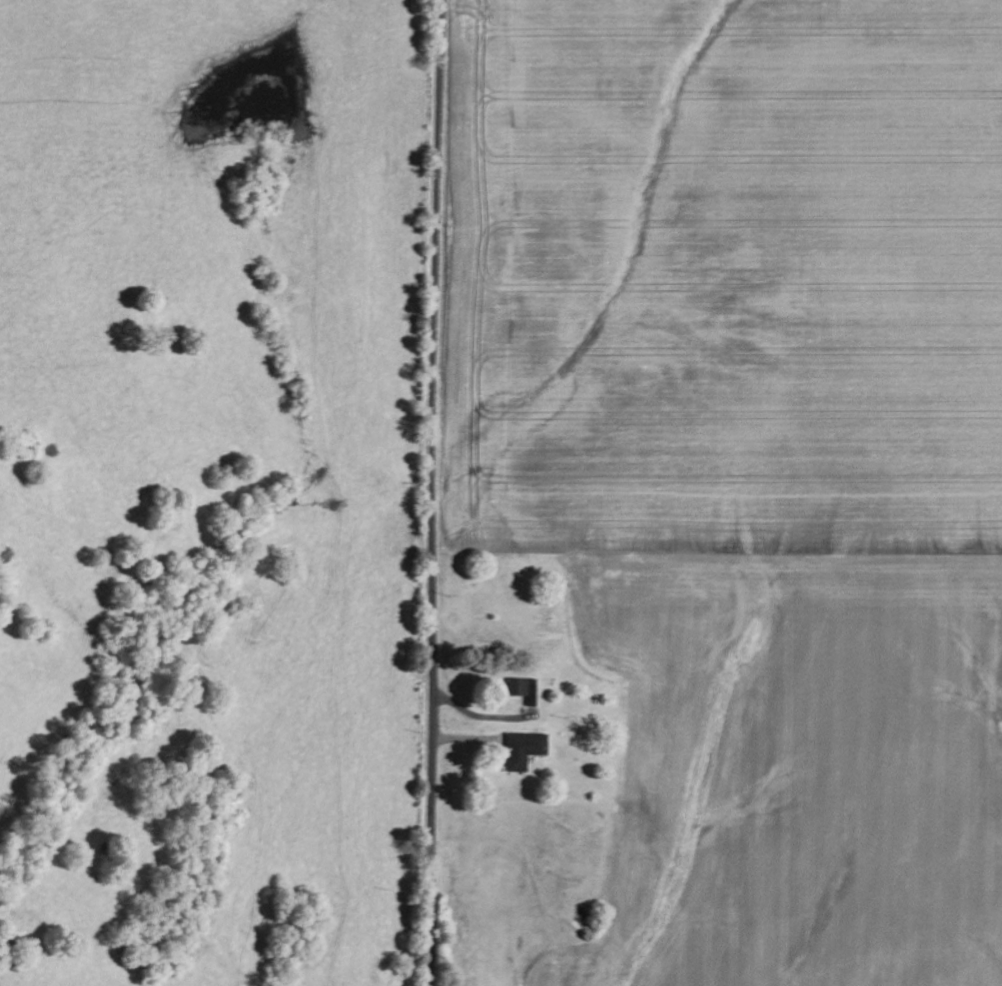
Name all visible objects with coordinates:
road: (430, 492)
building: (515, 686)
building: (521, 749)

